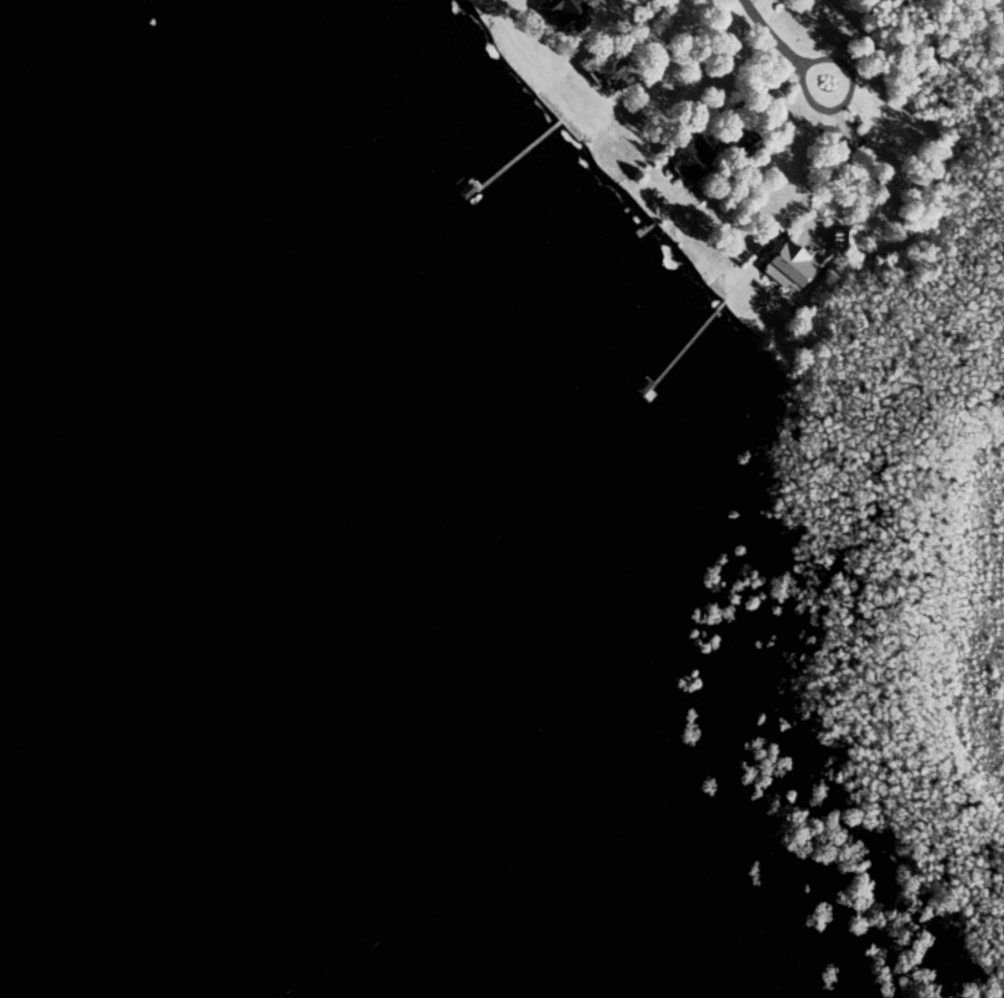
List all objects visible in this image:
road: (747, 1)
road: (643, 28)
road: (770, 32)
building: (619, 75)
road: (755, 91)
road: (846, 100)
building: (752, 143)
building: (697, 169)
road: (829, 183)
building: (845, 241)
building: (795, 262)
building: (686, 851)

